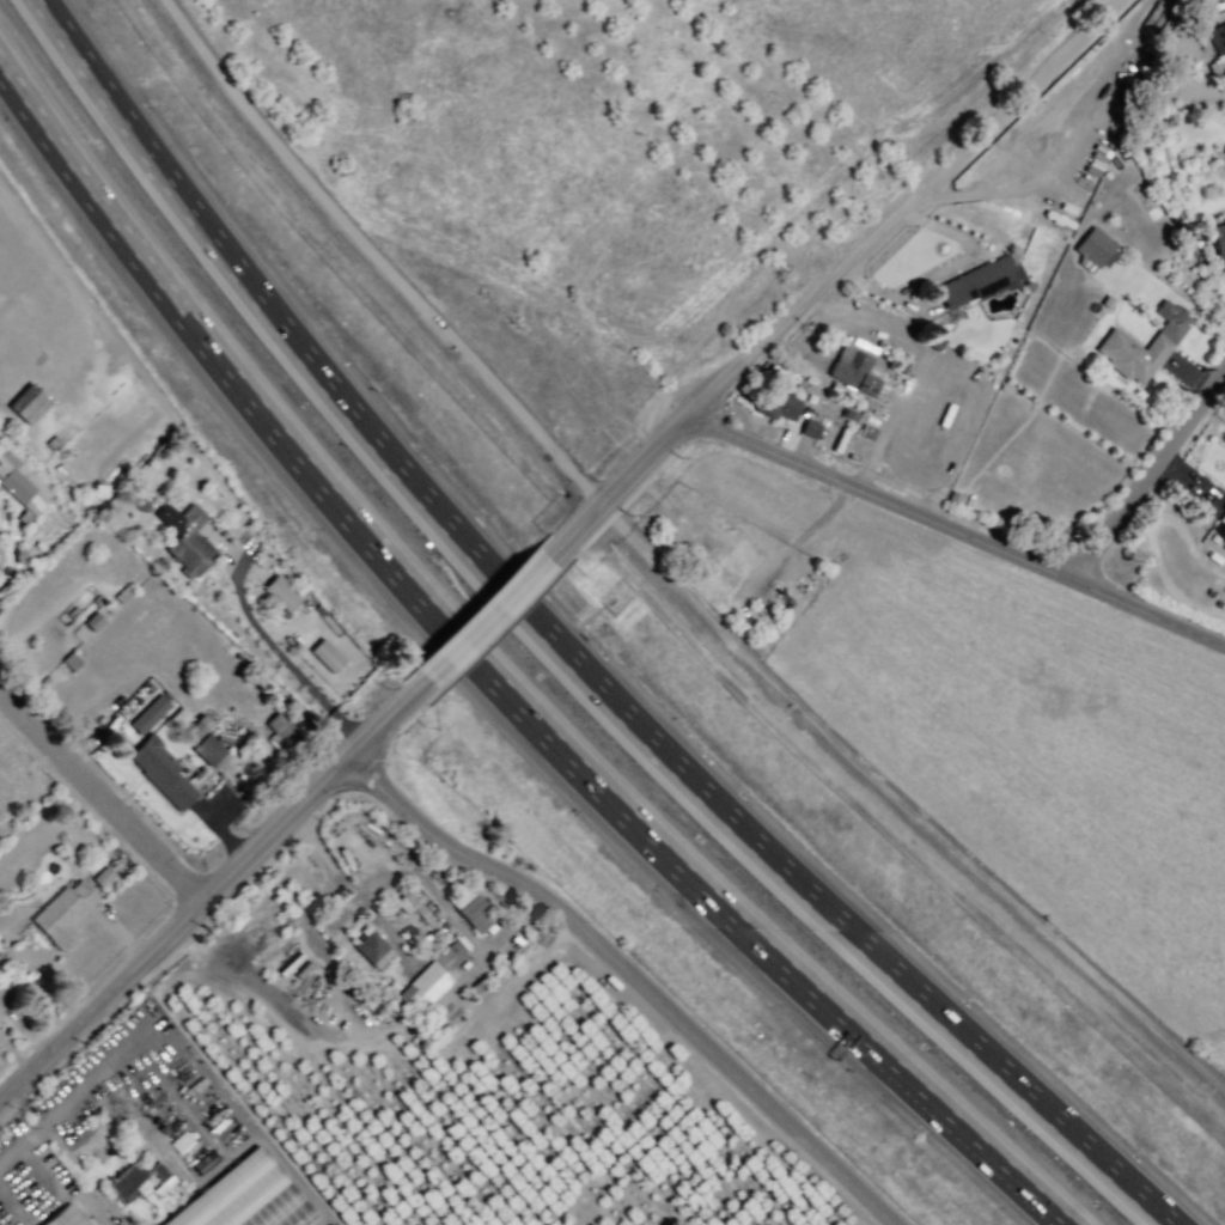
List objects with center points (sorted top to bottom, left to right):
building: (1218, 38)
building: (1218, 245)
building: (1095, 248)
road: (368, 262)
road: (840, 273)
road: (938, 273)
building: (982, 282)
road: (248, 285)
road: (167, 298)
building: (1115, 339)
building: (858, 372)
building: (775, 404)
building: (810, 427)
road: (1148, 473)
building: (23, 484)
building: (1224, 507)
road: (957, 531)
building: (189, 542)
building: (0, 546)
building: (0, 555)
building: (1211, 555)
building: (736, 566)
building: (282, 593)
building: (121, 595)
road: (512, 595)
building: (95, 602)
road: (421, 604)
building: (66, 611)
road: (486, 618)
building: (92, 621)
road: (270, 646)
building: (69, 662)
building: (145, 718)
building: (287, 720)
road: (380, 726)
building: (205, 741)
building: (159, 772)
road: (99, 794)
road: (907, 803)
building: (102, 876)
building: (471, 910)
building: (61, 914)
building: (418, 915)
road: (173, 927)
road: (854, 935)
building: (371, 951)
road: (774, 962)
road: (632, 976)
building: (433, 979)
building: (367, 1000)
road: (25, 1103)
road: (60, 1103)
crop: (146, 1134)
building: (140, 1181)
building: (243, 1197)
building: (65, 1217)
building: (232, 1224)
building: (329, 1224)

